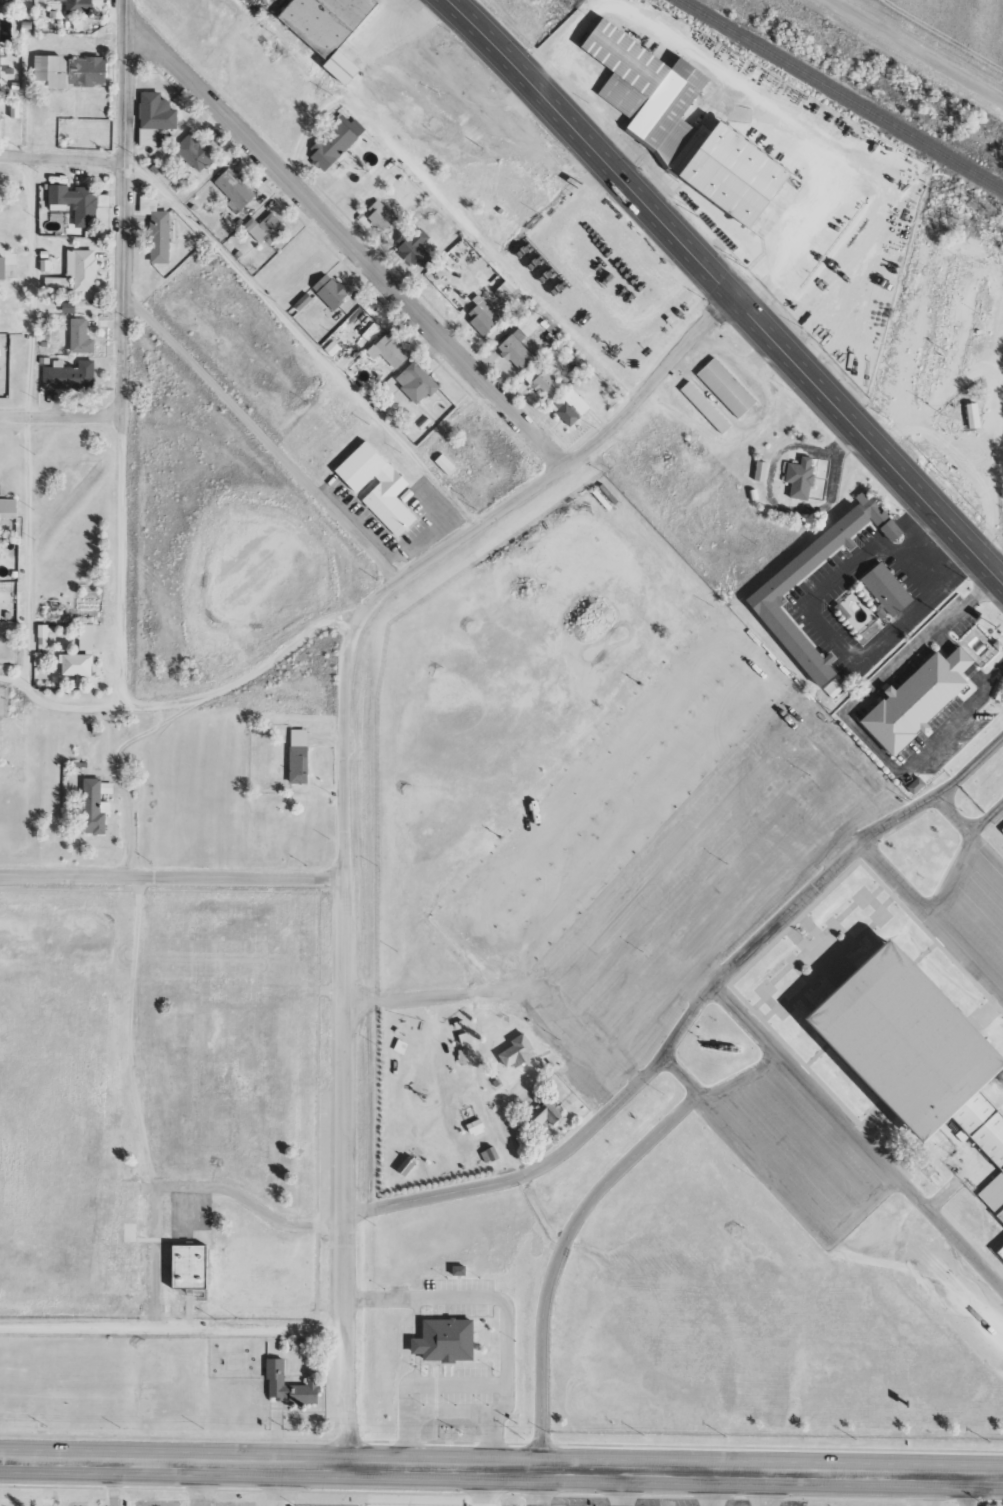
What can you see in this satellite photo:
building: (80, 7)
building: (327, 22)
road: (921, 47)
building: (0, 64)
building: (344, 66)
building: (52, 69)
building: (89, 70)
building: (642, 90)
railway: (840, 91)
building: (156, 116)
building: (333, 144)
building: (196, 152)
building: (689, 153)
road: (61, 157)
building: (739, 174)
building: (236, 187)
building: (76, 203)
building: (381, 214)
road: (457, 216)
building: (267, 228)
building: (161, 236)
road: (350, 240)
building: (414, 246)
building: (2, 267)
building: (78, 271)
road: (725, 290)
building: (332, 291)
building: (483, 316)
building: (529, 326)
building: (81, 336)
road: (304, 339)
building: (392, 350)
building: (517, 350)
road: (127, 351)
building: (70, 375)
building: (417, 382)
building: (547, 382)
building: (727, 387)
building: (571, 407)
building: (706, 407)
road: (63, 415)
building: (974, 415)
road: (23, 417)
road: (264, 433)
building: (446, 463)
building: (762, 471)
road: (552, 474)
building: (802, 477)
building: (382, 494)
building: (8, 507)
building: (784, 579)
building: (883, 595)
road: (935, 628)
building: (43, 634)
building: (87, 636)
building: (78, 663)
building: (833, 688)
road: (182, 699)
building: (910, 708)
road: (343, 752)
building: (300, 755)
building: (917, 785)
building: (95, 805)
building: (1002, 830)
road: (172, 877)
road: (696, 1015)
building: (518, 1051)
building: (901, 1051)
building: (466, 1055)
park: (457, 1093)
park: (164, 1104)
building: (545, 1115)
building: (477, 1127)
road: (861, 1136)
building: (408, 1164)
road: (349, 1170)
building: (999, 1252)
building: (193, 1266)
building: (460, 1269)
road: (175, 1327)
building: (439, 1339)
building: (291, 1386)
road: (501, 1466)

